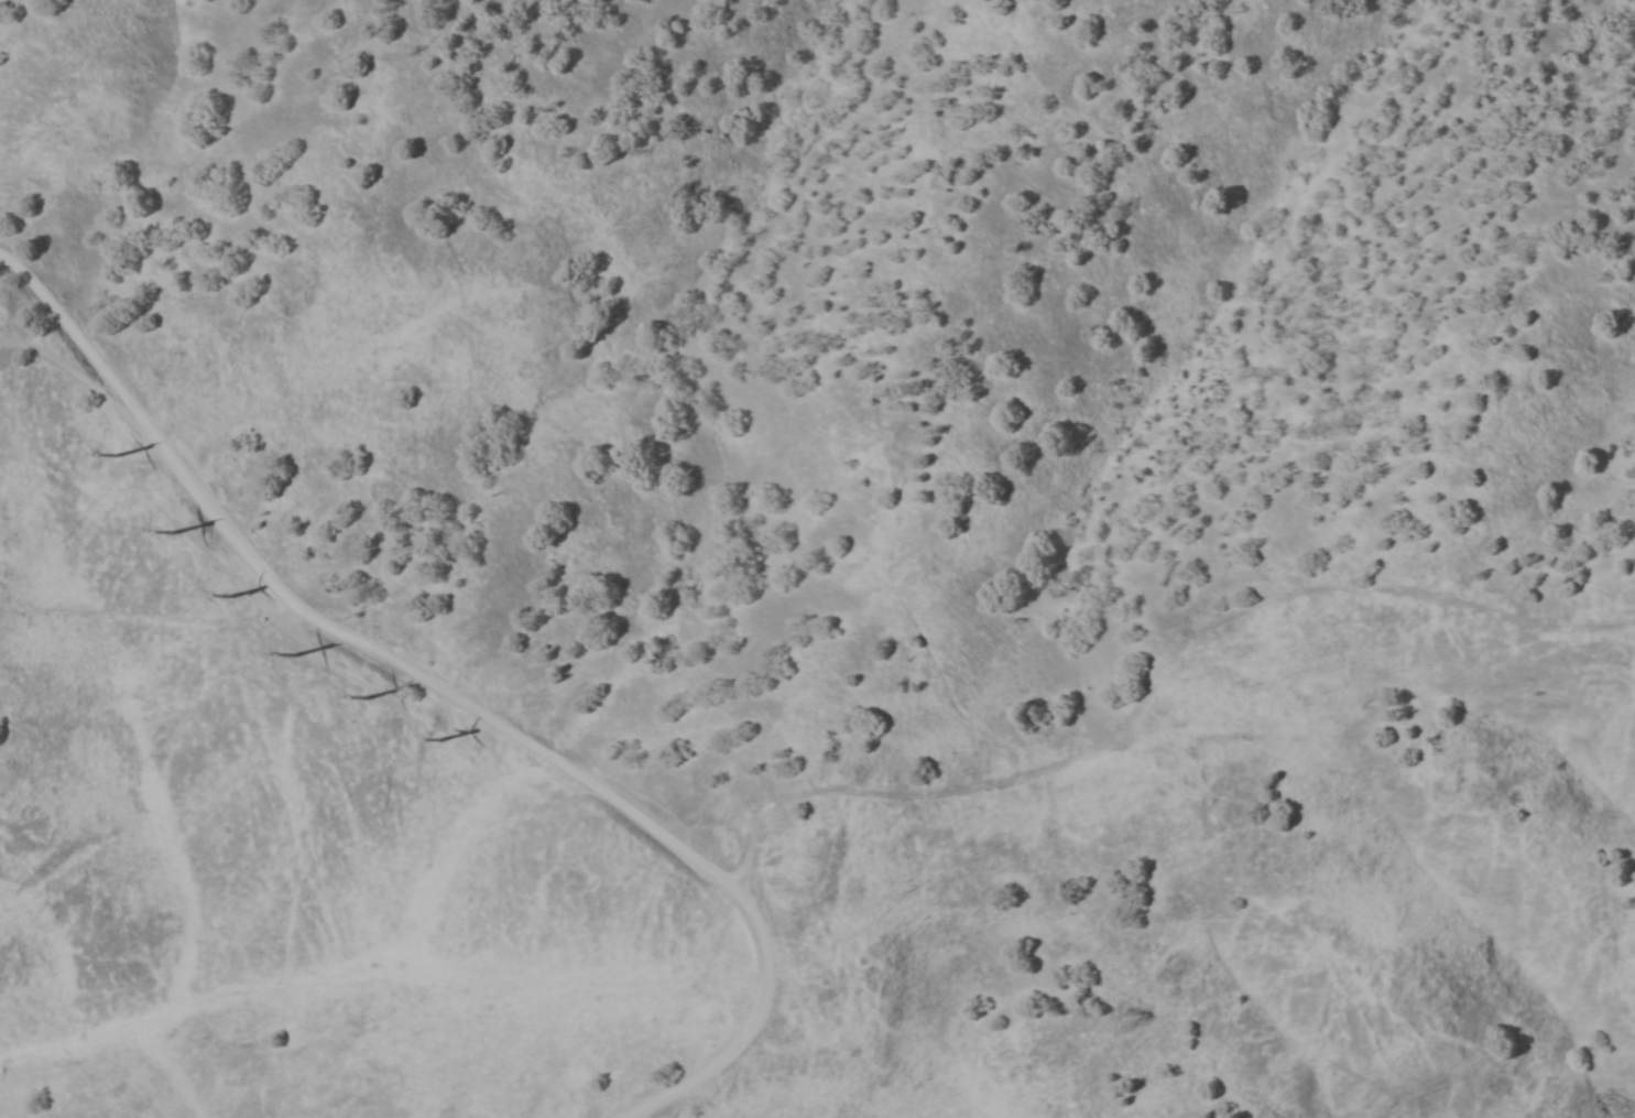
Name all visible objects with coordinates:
road: (83, 377)
wind turbine: (118, 456)
wind turbine: (179, 529)
wind turbine: (246, 599)
road: (295, 621)
road: (333, 629)
wind turbine: (303, 659)
road: (378, 693)
wind turbine: (382, 701)
wind turbine: (455, 747)
road: (742, 1041)

